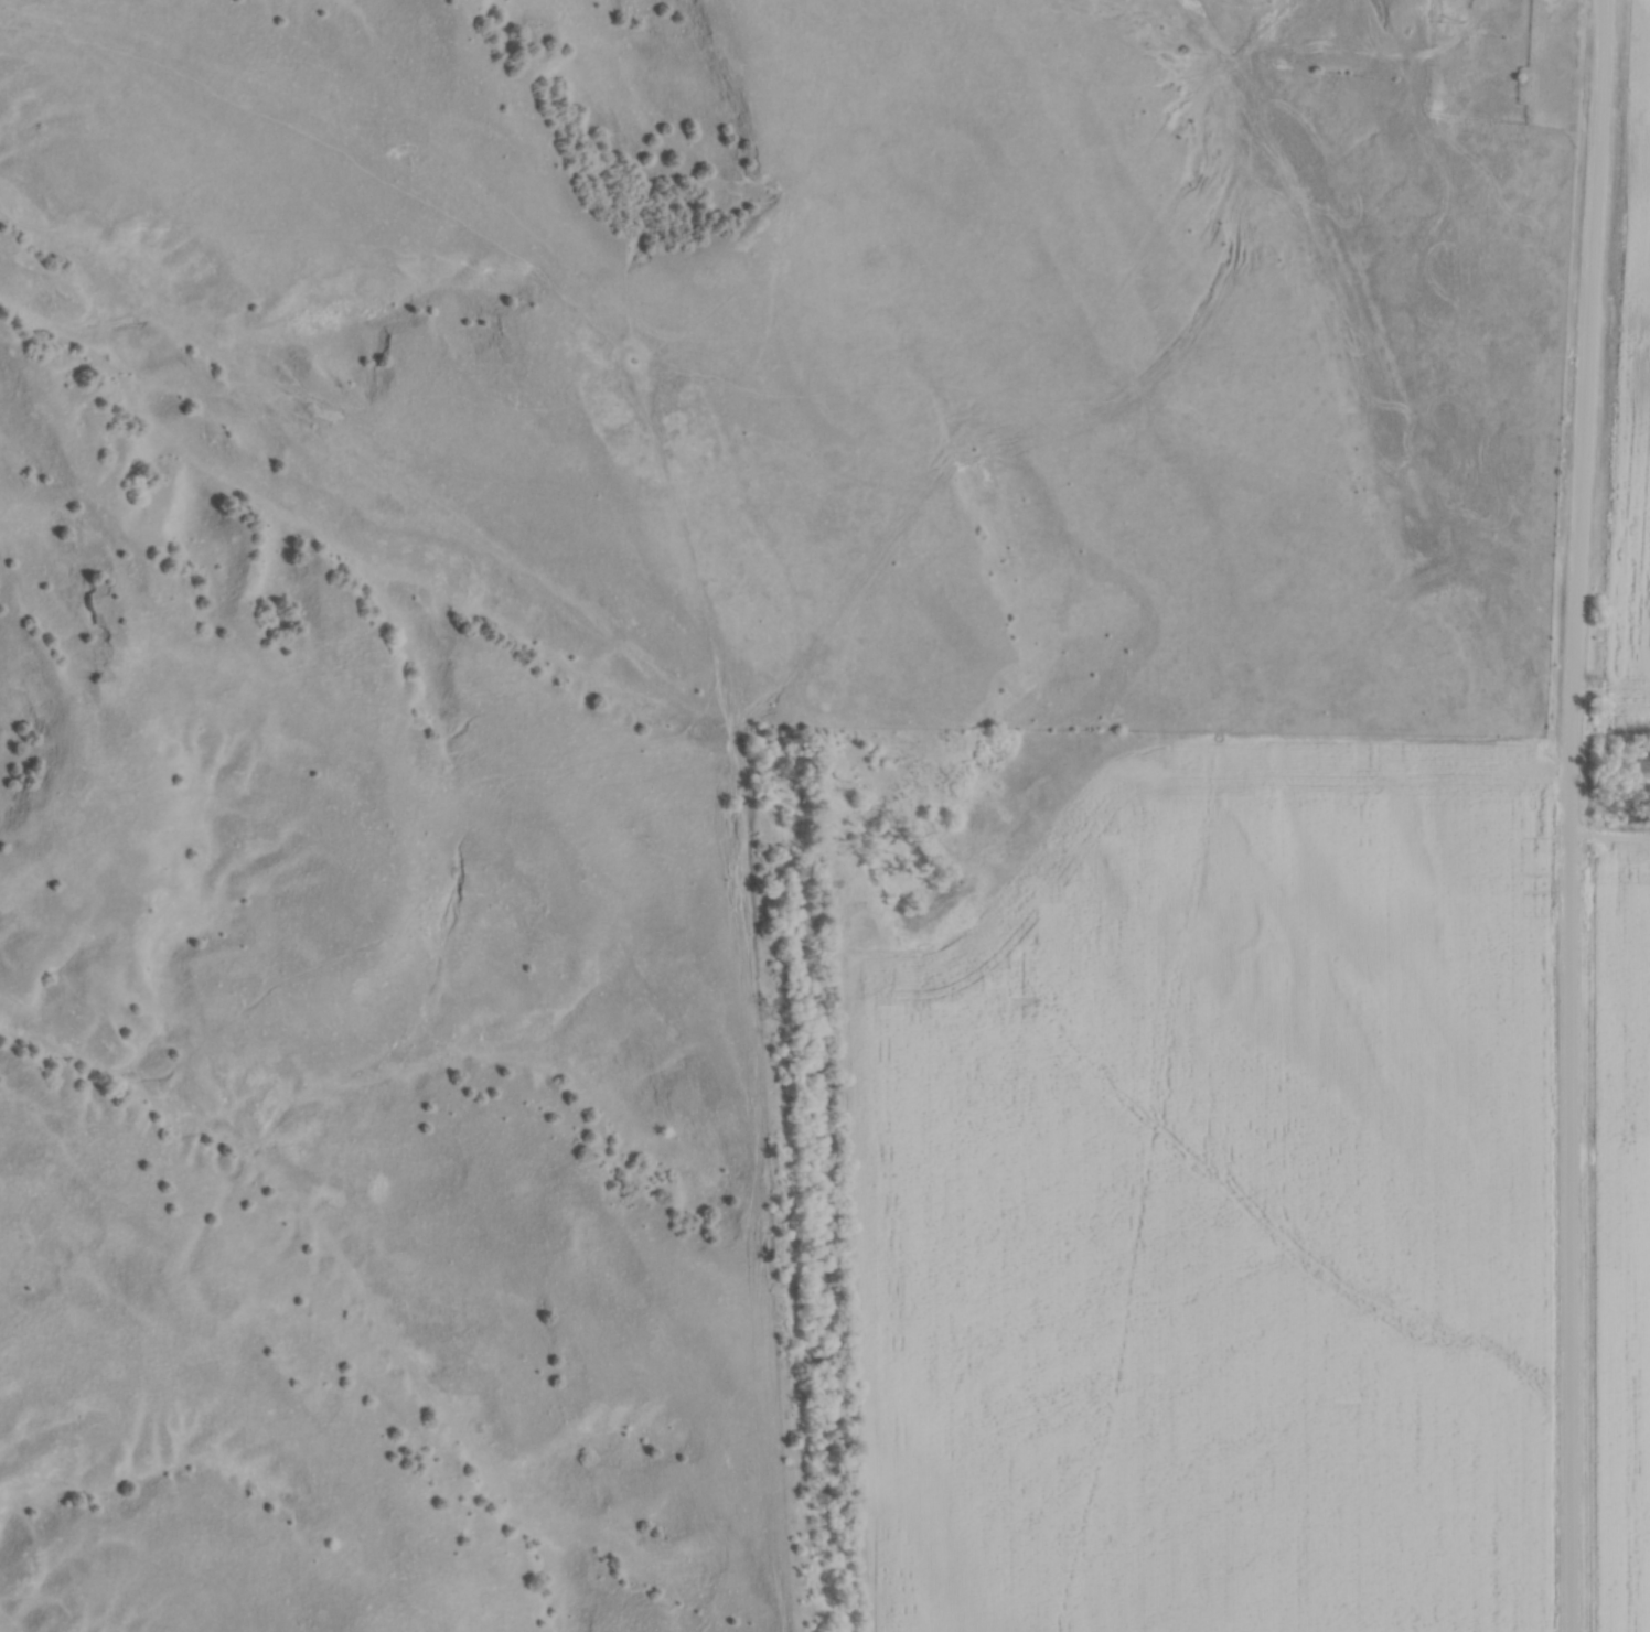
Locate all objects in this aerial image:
road: (1574, 815)

